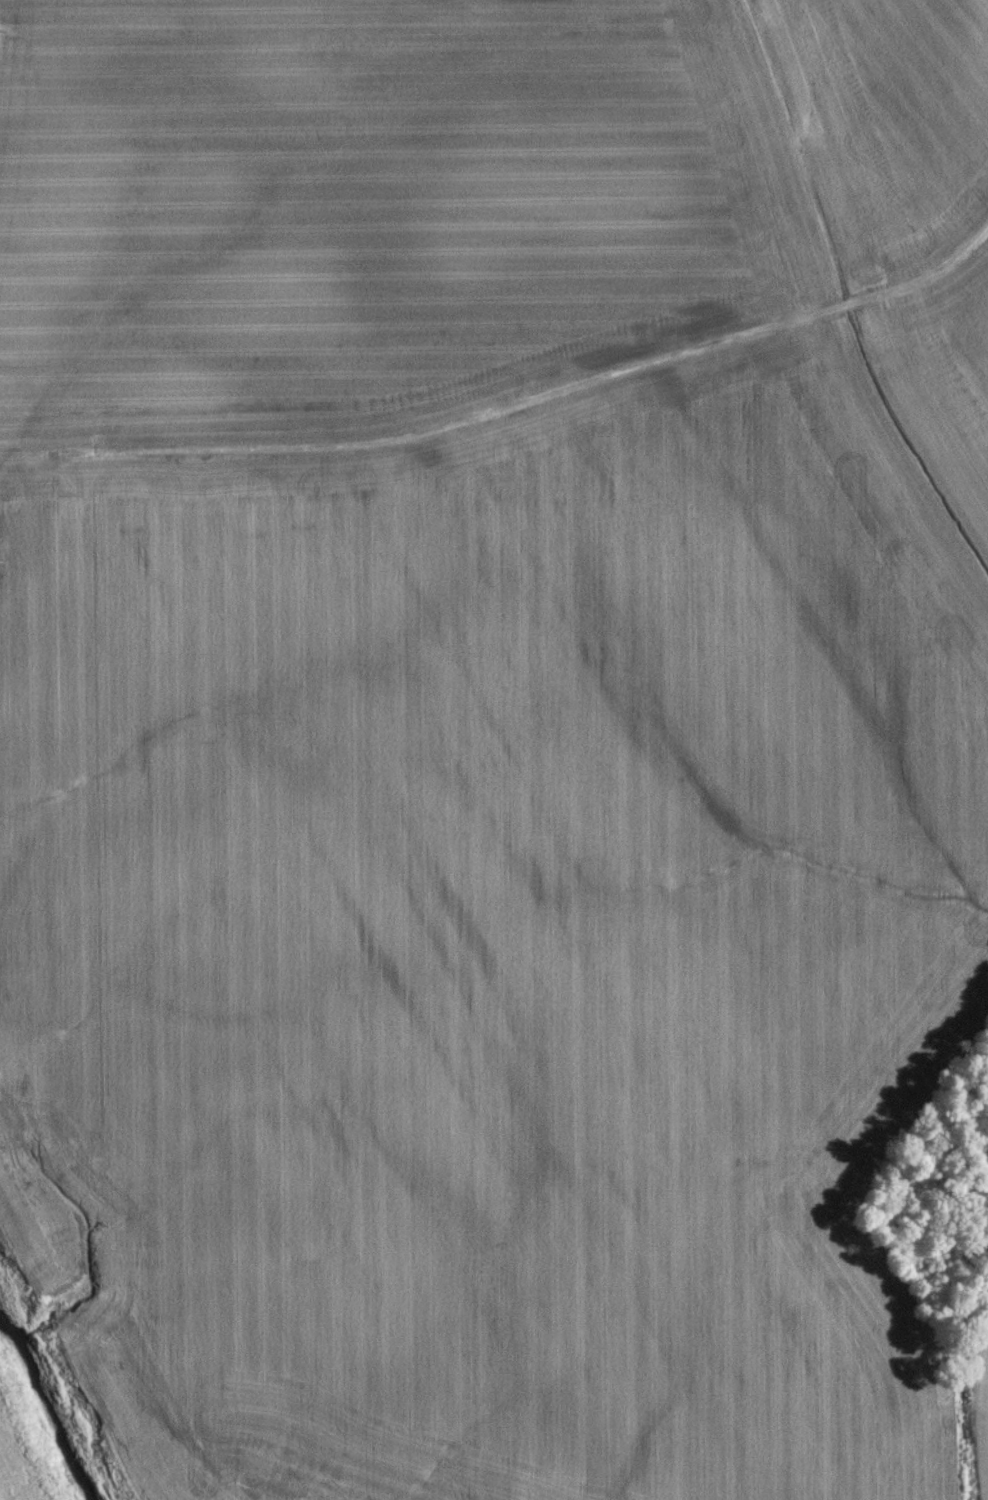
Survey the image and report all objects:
road: (987, 99)

